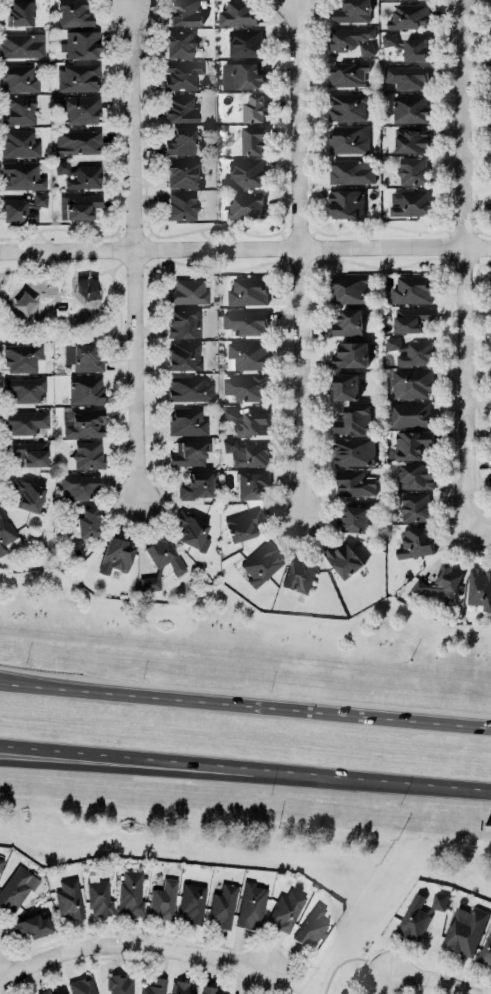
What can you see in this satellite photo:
building: (353, 11)
building: (20, 12)
building: (239, 12)
building: (74, 13)
building: (185, 13)
building: (409, 15)
building: (389, 38)
building: (353, 39)
building: (245, 42)
building: (180, 43)
building: (81, 44)
building: (21, 45)
building: (415, 48)
building: (348, 73)
building: (242, 74)
building: (182, 75)
building: (407, 75)
building: (79, 77)
building: (18, 78)
building: (348, 106)
building: (254, 107)
building: (410, 108)
building: (81, 109)
building: (181, 109)
building: (18, 111)
building: (349, 138)
building: (253, 139)
building: (412, 139)
building: (181, 141)
building: (77, 142)
building: (19, 143)
building: (352, 170)
building: (414, 170)
building: (183, 172)
building: (244, 172)
building: (79, 175)
building: (21, 176)
building: (409, 202)
building: (347, 203)
building: (181, 205)
building: (246, 205)
building: (79, 206)
building: (23, 208)
road: (245, 246)
road: (135, 250)
road: (299, 257)
road: (464, 262)
building: (350, 287)
building: (412, 289)
building: (247, 290)
building: (86, 292)
building: (188, 292)
park: (62, 302)
building: (412, 319)
building: (246, 321)
building: (348, 321)
building: (184, 323)
building: (411, 350)
building: (248, 354)
building: (351, 354)
building: (184, 355)
building: (22, 357)
building: (83, 357)
building: (411, 382)
building: (346, 385)
building: (247, 387)
building: (189, 388)
building: (25, 389)
building: (86, 389)
building: (410, 413)
building: (353, 419)
building: (248, 420)
building: (187, 421)
building: (25, 422)
building: (85, 422)
building: (411, 443)
building: (354, 450)
building: (189, 453)
building: (247, 453)
building: (29, 454)
building: (87, 455)
building: (416, 475)
building: (355, 483)
building: (250, 484)
building: (197, 485)
building: (79, 486)
building: (27, 494)
building: (415, 506)
building: (355, 518)
building: (87, 522)
building: (244, 525)
road: (479, 525)
building: (192, 531)
building: (7, 534)
building: (415, 542)
building: (116, 555)
building: (164, 556)
building: (344, 559)
building: (261, 563)
building: (299, 575)
building: (149, 583)
building: (441, 583)
building: (479, 587)
road: (11, 680)
road: (11, 682)
road: (256, 703)
road: (127, 756)
road: (127, 766)
road: (373, 778)
building: (1, 862)
building: (17, 887)
building: (131, 893)
building: (99, 897)
building: (69, 899)
building: (163, 899)
building: (439, 900)
building: (192, 902)
building: (251, 905)
building: (222, 906)
building: (287, 910)
building: (414, 918)
building: (31, 925)
building: (311, 927)
building: (465, 929)
road: (160, 936)
road: (130, 945)
road: (399, 947)
building: (486, 949)
road: (131, 956)
road: (1, 978)
road: (430, 979)
building: (119, 984)
building: (81, 986)
building: (154, 986)
building: (180, 987)
building: (207, 989)
building: (43, 992)
building: (63, 993)
building: (341, 993)

